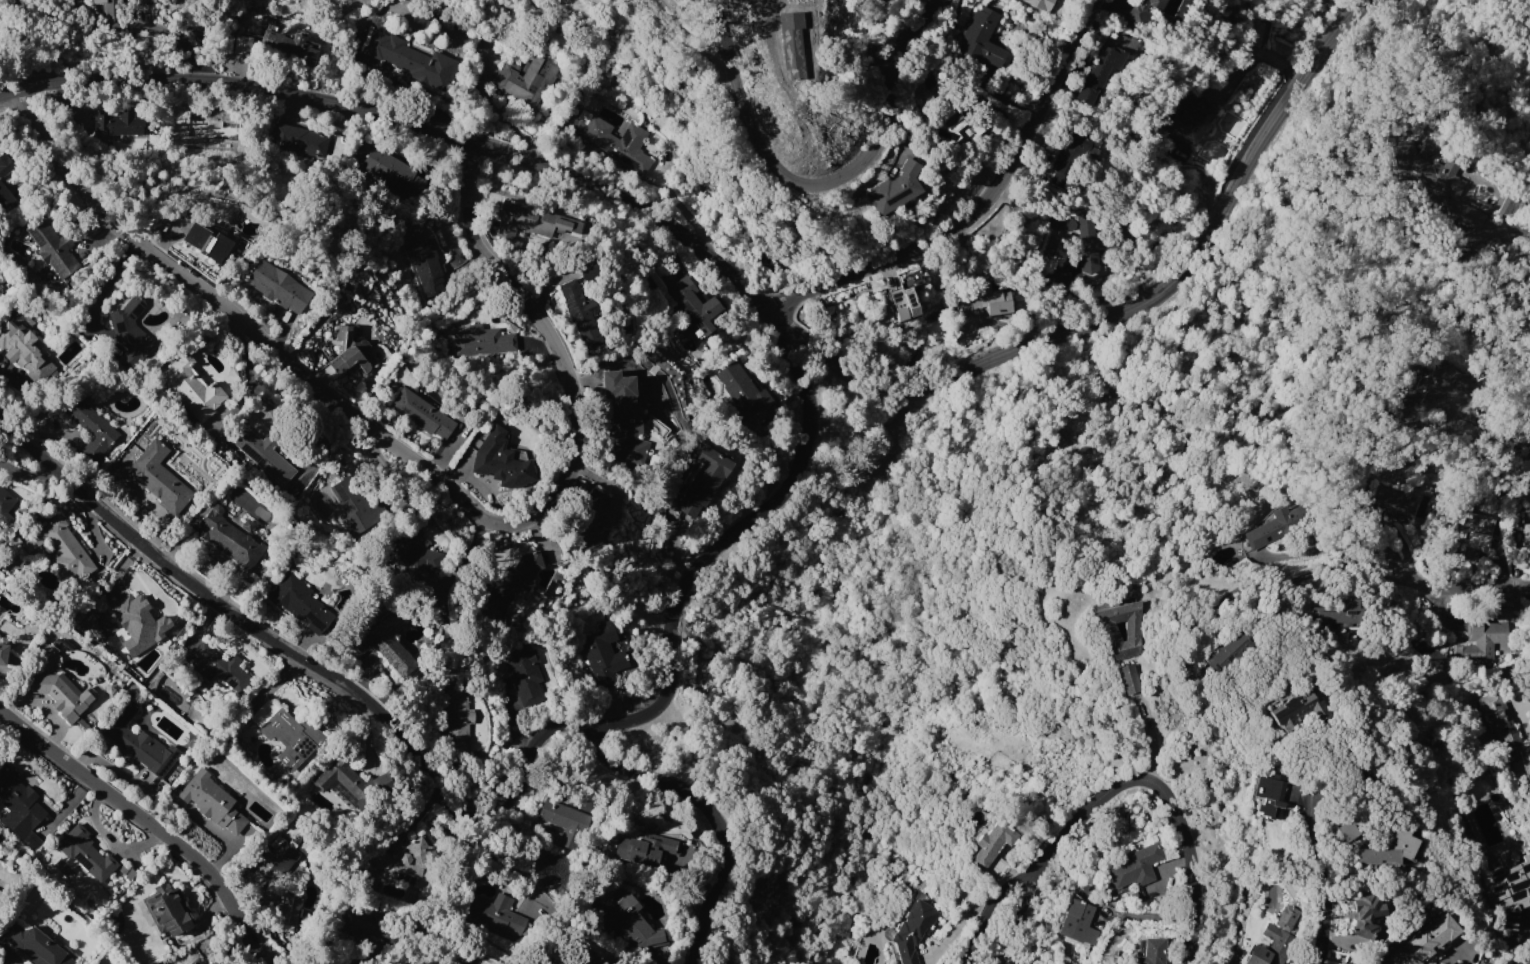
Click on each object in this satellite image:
building: (1041, 4)
building: (107, 6)
building: (1144, 10)
road: (894, 27)
road: (167, 31)
building: (1253, 33)
building: (982, 40)
building: (789, 43)
building: (240, 44)
road: (706, 45)
building: (289, 47)
building: (412, 59)
building: (1100, 72)
building: (525, 81)
building: (1187, 117)
building: (120, 123)
building: (955, 126)
building: (214, 130)
building: (614, 139)
building: (300, 140)
building: (1069, 156)
building: (5, 165)
building: (394, 171)
building: (1432, 183)
road: (824, 186)
building: (895, 188)
building: (5, 195)
road: (986, 204)
building: (531, 220)
building: (1062, 223)
road: (1514, 230)
building: (208, 242)
building: (1090, 243)
building: (53, 249)
building: (426, 264)
building: (588, 268)
building: (916, 277)
building: (279, 286)
road: (761, 297)
building: (995, 299)
building: (695, 304)
building: (904, 305)
building: (581, 313)
building: (131, 333)
building: (483, 340)
building: (19, 346)
building: (350, 353)
building: (1528, 377)
building: (747, 386)
building: (1429, 386)
building: (192, 387)
building: (422, 413)
building: (625, 414)
building: (91, 426)
building: (264, 454)
building: (501, 460)
road: (419, 467)
building: (158, 479)
building: (704, 480)
building: (1386, 503)
building: (5, 505)
building: (355, 506)
building: (591, 518)
building: (1280, 524)
building: (1526, 526)
building: (1471, 527)
building: (229, 537)
building: (62, 547)
building: (413, 555)
building: (517, 577)
road: (1447, 589)
building: (301, 603)
building: (1345, 610)
building: (127, 620)
building: (1107, 631)
building: (1482, 638)
building: (381, 639)
building: (3, 652)
building: (1230, 652)
building: (603, 655)
building: (218, 665)
building: (525, 672)
building: (1128, 677)
building: (61, 694)
building: (1296, 710)
building: (458, 718)
building: (287, 732)
building: (1511, 737)
road: (1151, 738)
building: (141, 743)
road: (1346, 755)
building: (351, 778)
road: (1169, 795)
building: (1267, 795)
building: (212, 802)
road: (501, 803)
building: (19, 807)
road: (713, 816)
building: (566, 823)
road: (148, 824)
building: (1343, 829)
building: (993, 843)
building: (645, 848)
building: (1388, 848)
building: (87, 853)
building: (277, 860)
building: (405, 865)
building: (1136, 866)
road: (1327, 876)
road: (1025, 879)
building: (1511, 890)
building: (0, 897)
building: (167, 910)
building: (288, 910)
building: (496, 915)
building: (1365, 915)
building: (1077, 918)
building: (1288, 918)
building: (367, 923)
building: (635, 923)
building: (913, 930)
building: (1428, 940)
building: (37, 947)
building: (1272, 947)
building: (1152, 951)
building: (585, 959)
building: (197, 962)
building: (1349, 963)
road: (1528, 963)

